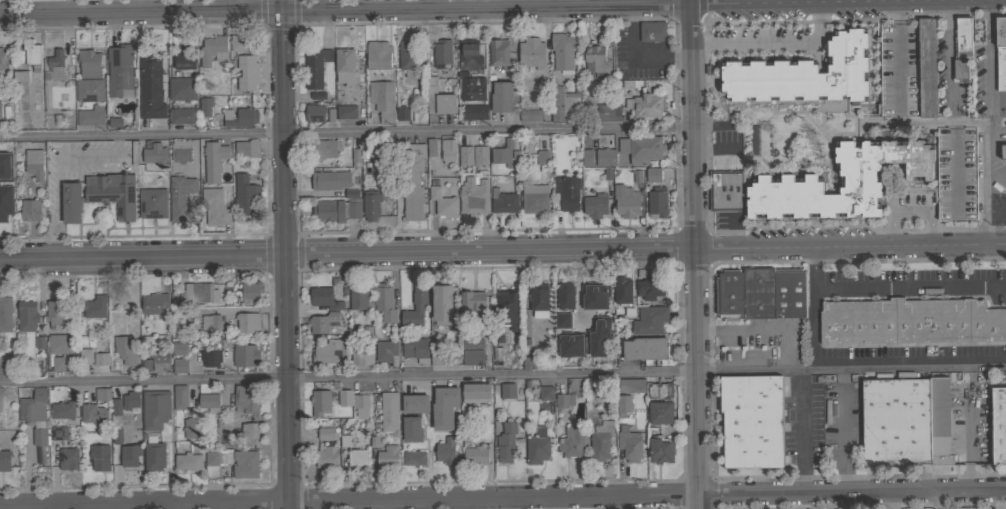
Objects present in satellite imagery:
road: (926, 0)
road: (140, 6)
road: (494, 7)
building: (652, 31)
building: (1001, 33)
building: (963, 38)
building: (243, 42)
road: (770, 42)
building: (213, 50)
building: (499, 53)
building: (531, 53)
building: (32, 54)
building: (442, 54)
building: (564, 54)
building: (378, 55)
building: (469, 55)
building: (408, 56)
building: (184, 59)
building: (595, 59)
building: (89, 64)
building: (3, 65)
building: (54, 66)
building: (314, 67)
building: (344, 68)
building: (926, 68)
building: (960, 69)
building: (120, 70)
building: (1001, 70)
building: (247, 72)
building: (803, 74)
building: (20, 76)
building: (151, 88)
building: (471, 88)
building: (182, 89)
building: (89, 90)
building: (317, 96)
building: (501, 97)
building: (439, 99)
building: (383, 100)
building: (563, 103)
building: (205, 106)
building: (645, 107)
building: (588, 109)
building: (0, 111)
building: (346, 112)
building: (474, 112)
building: (607, 113)
building: (402, 114)
building: (419, 114)
building: (313, 115)
building: (530, 115)
building: (91, 116)
building: (182, 116)
building: (330, 116)
building: (240, 117)
road: (990, 122)
building: (112, 123)
road: (998, 123)
road: (712, 126)
road: (706, 127)
road: (345, 132)
building: (363, 146)
building: (429, 147)
building: (248, 148)
building: (325, 148)
building: (641, 149)
building: (180, 151)
road: (714, 151)
building: (446, 152)
building: (1003, 152)
building: (154, 153)
building: (501, 155)
building: (464, 156)
building: (479, 156)
building: (598, 157)
building: (512, 158)
building: (541, 158)
building: (7, 159)
building: (354, 159)
building: (214, 161)
building: (34, 164)
building: (3, 167)
building: (653, 175)
building: (410, 179)
building: (787, 179)
building: (330, 180)
building: (725, 190)
building: (954, 191)
building: (567, 192)
building: (245, 195)
building: (350, 195)
building: (473, 196)
building: (114, 198)
building: (181, 198)
building: (5, 201)
building: (626, 201)
building: (533, 202)
building: (657, 202)
building: (502, 203)
building: (442, 204)
building: (596, 205)
building: (369, 206)
building: (214, 207)
road: (910, 209)
building: (30, 210)
building: (337, 211)
road: (930, 234)
road: (890, 235)
road: (850, 247)
road: (285, 254)
road: (694, 254)
road: (346, 255)
road: (813, 267)
road: (909, 286)
building: (649, 289)
building: (621, 292)
building: (249, 293)
building: (773, 293)
building: (196, 294)
building: (729, 295)
road: (40, 296)
building: (565, 296)
building: (594, 296)
building: (324, 298)
building: (359, 298)
building: (539, 300)
building: (385, 302)
building: (442, 304)
building: (473, 304)
building: (152, 305)
building: (130, 306)
building: (415, 306)
building: (94, 307)
building: (508, 309)
building: (5, 314)
building: (27, 315)
building: (55, 316)
building: (562, 320)
building: (649, 320)
building: (911, 321)
building: (322, 322)
building: (211, 324)
building: (246, 326)
road: (813, 329)
road: (705, 330)
building: (597, 339)
building: (38, 343)
building: (473, 343)
building: (60, 344)
road: (783, 344)
building: (571, 345)
building: (180, 348)
building: (415, 349)
building: (330, 350)
building: (645, 351)
building: (125, 352)
building: (386, 352)
building: (85, 355)
building: (243, 356)
building: (362, 357)
building: (443, 357)
building: (472, 357)
building: (101, 358)
building: (209, 359)
building: (161, 361)
building: (529, 363)
building: (58, 365)
building: (3, 366)
building: (145, 366)
building: (179, 366)
road: (709, 370)
road: (503, 375)
road: (807, 384)
building: (526, 385)
building: (631, 387)
building: (594, 389)
building: (507, 390)
building: (658, 391)
building: (476, 393)
building: (104, 394)
building: (545, 394)
building: (130, 398)
building: (178, 398)
building: (246, 399)
building: (208, 402)
building: (320, 402)
building: (354, 402)
building: (562, 402)
building: (415, 404)
building: (623, 405)
building: (33, 406)
building: (444, 407)
building: (113, 408)
building: (62, 410)
building: (154, 410)
building: (389, 411)
building: (660, 413)
building: (93, 414)
building: (941, 420)
building: (752, 421)
building: (896, 422)
building: (222, 423)
building: (998, 425)
building: (191, 428)
building: (412, 429)
road: (842, 431)
building: (250, 432)
building: (59, 433)
building: (332, 436)
building: (38, 437)
building: (116, 437)
building: (506, 441)
building: (600, 441)
building: (572, 442)
road: (801, 445)
building: (629, 446)
building: (537, 447)
building: (660, 450)
building: (446, 451)
building: (475, 453)
building: (39, 455)
building: (153, 455)
building: (129, 456)
building: (326, 457)
building: (387, 457)
building: (67, 458)
building: (99, 458)
building: (357, 458)
building: (414, 458)
building: (5, 461)
building: (187, 463)
building: (215, 463)
building: (244, 464)
road: (502, 497)
road: (998, 499)
road: (894, 500)

